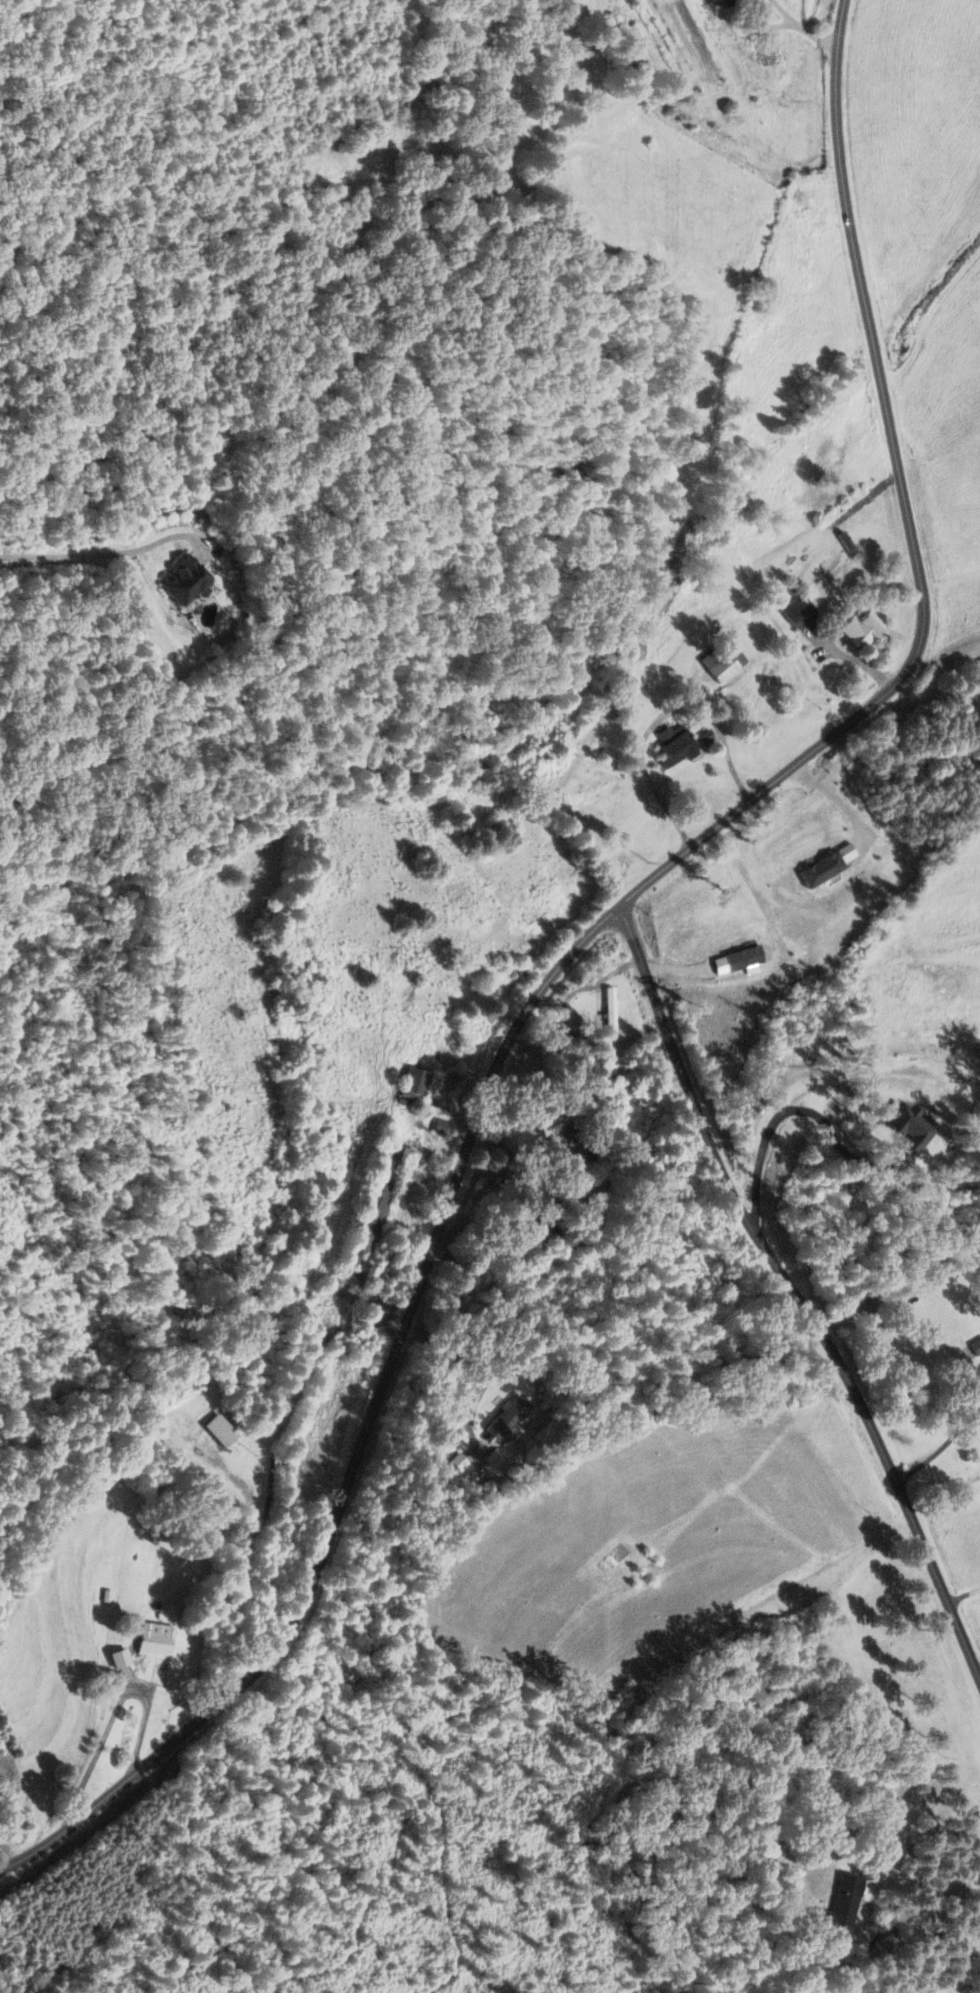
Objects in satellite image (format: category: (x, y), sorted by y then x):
building: (731, 1)
road: (802, 28)
building: (773, 55)
building: (623, 63)
road: (112, 554)
building: (179, 580)
building: (796, 612)
building: (858, 628)
road: (849, 658)
building: (719, 660)
building: (672, 745)
road: (571, 948)
building: (607, 1008)
building: (411, 1085)
building: (544, 1119)
road: (775, 1120)
building: (441, 1128)
building: (371, 1209)
road: (899, 1288)
road: (793, 1292)
building: (979, 1368)
building: (504, 1418)
building: (217, 1430)
road: (939, 1447)
road: (963, 1594)
building: (151, 1639)
building: (115, 1659)
road: (112, 1714)
building: (3, 1830)
building: (842, 1902)
road: (905, 1963)

